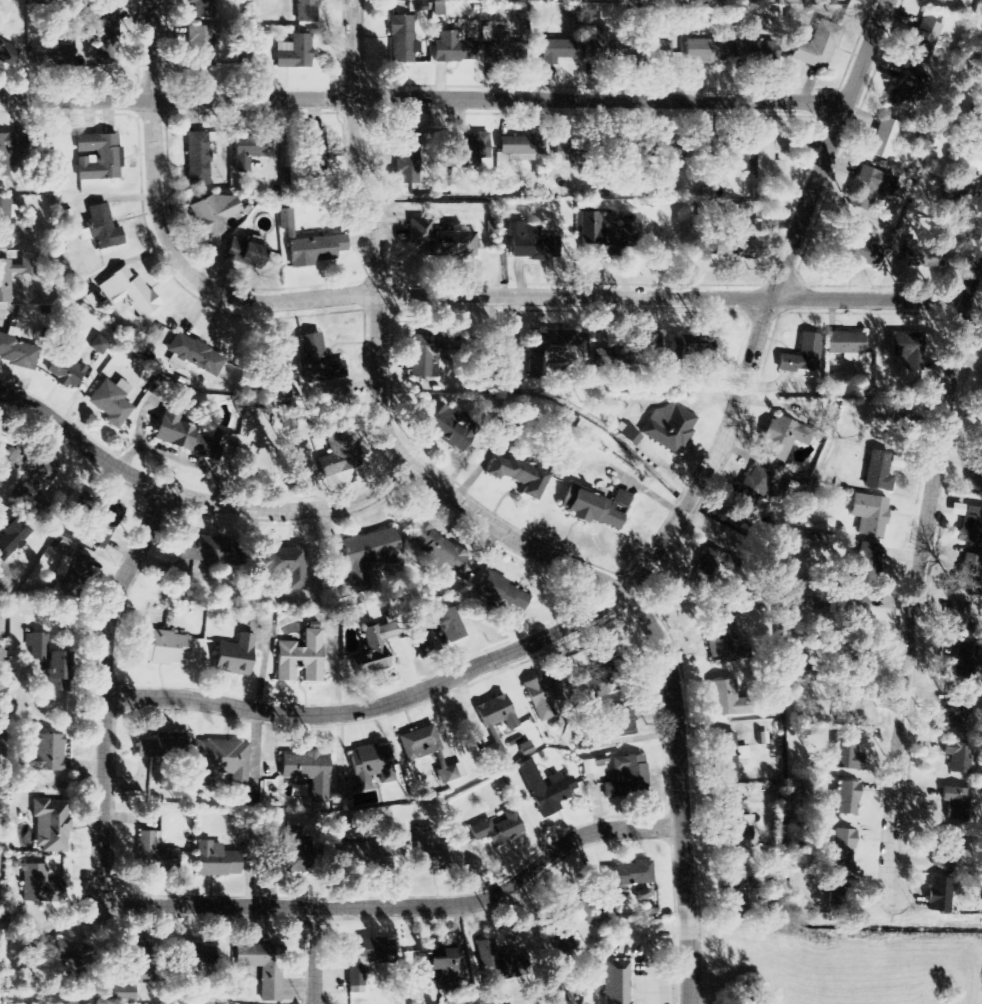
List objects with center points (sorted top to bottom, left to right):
building: (947, 0)
building: (201, 8)
building: (306, 11)
building: (106, 29)
building: (402, 40)
building: (922, 42)
building: (603, 45)
building: (660, 45)
building: (201, 46)
building: (817, 46)
building: (453, 48)
building: (505, 49)
building: (557, 51)
building: (705, 51)
building: (294, 52)
building: (755, 52)
building: (7, 54)
building: (50, 55)
building: (904, 92)
road: (421, 98)
building: (977, 120)
building: (884, 139)
building: (521, 147)
building: (473, 148)
building: (669, 148)
building: (9, 150)
building: (572, 151)
building: (248, 152)
building: (313, 152)
building: (406, 156)
building: (97, 157)
building: (197, 159)
building: (968, 166)
building: (869, 187)
building: (956, 202)
building: (213, 213)
building: (286, 222)
building: (5, 224)
building: (101, 229)
building: (608, 233)
building: (440, 241)
building: (530, 243)
building: (314, 250)
building: (861, 253)
building: (244, 254)
building: (922, 260)
building: (15, 273)
building: (128, 292)
road: (435, 293)
building: (645, 342)
building: (97, 345)
building: (844, 345)
building: (689, 349)
building: (906, 349)
building: (552, 351)
building: (194, 356)
building: (422, 357)
building: (605, 358)
building: (316, 366)
building: (64, 368)
building: (111, 402)
building: (444, 427)
building: (669, 428)
building: (898, 429)
building: (627, 431)
building: (185, 435)
building: (781, 438)
building: (334, 448)
building: (878, 472)
building: (516, 475)
building: (32, 477)
building: (975, 477)
building: (749, 491)
road: (198, 498)
building: (590, 510)
building: (869, 515)
building: (104, 522)
road: (491, 524)
building: (972, 527)
building: (12, 538)
building: (439, 548)
building: (369, 549)
road: (656, 552)
building: (288, 565)
building: (866, 565)
building: (78, 569)
building: (710, 570)
building: (969, 572)
road: (917, 584)
building: (501, 593)
building: (857, 610)
building: (957, 618)
building: (436, 631)
building: (723, 643)
building: (163, 648)
building: (370, 655)
building: (233, 656)
building: (602, 657)
building: (299, 658)
building: (967, 660)
building: (2, 662)
building: (48, 662)
road: (105, 690)
building: (540, 696)
building: (956, 711)
building: (495, 714)
building: (618, 723)
building: (420, 743)
building: (161, 746)
building: (44, 754)
building: (846, 754)
building: (957, 756)
building: (725, 757)
building: (226, 766)
building: (370, 767)
building: (306, 772)
building: (625, 777)
building: (544, 789)
building: (846, 799)
building: (955, 804)
building: (738, 823)
building: (51, 826)
building: (496, 830)
building: (844, 846)
building: (292, 848)
building: (428, 853)
building: (946, 853)
building: (153, 855)
building: (378, 856)
building: (215, 861)
building: (627, 875)
building: (838, 884)
building: (39, 886)
building: (737, 895)
building: (938, 896)
road: (401, 905)
building: (67, 954)
building: (194, 954)
road: (312, 955)
building: (489, 959)
building: (364, 960)
building: (436, 967)
building: (263, 968)
building: (615, 983)

